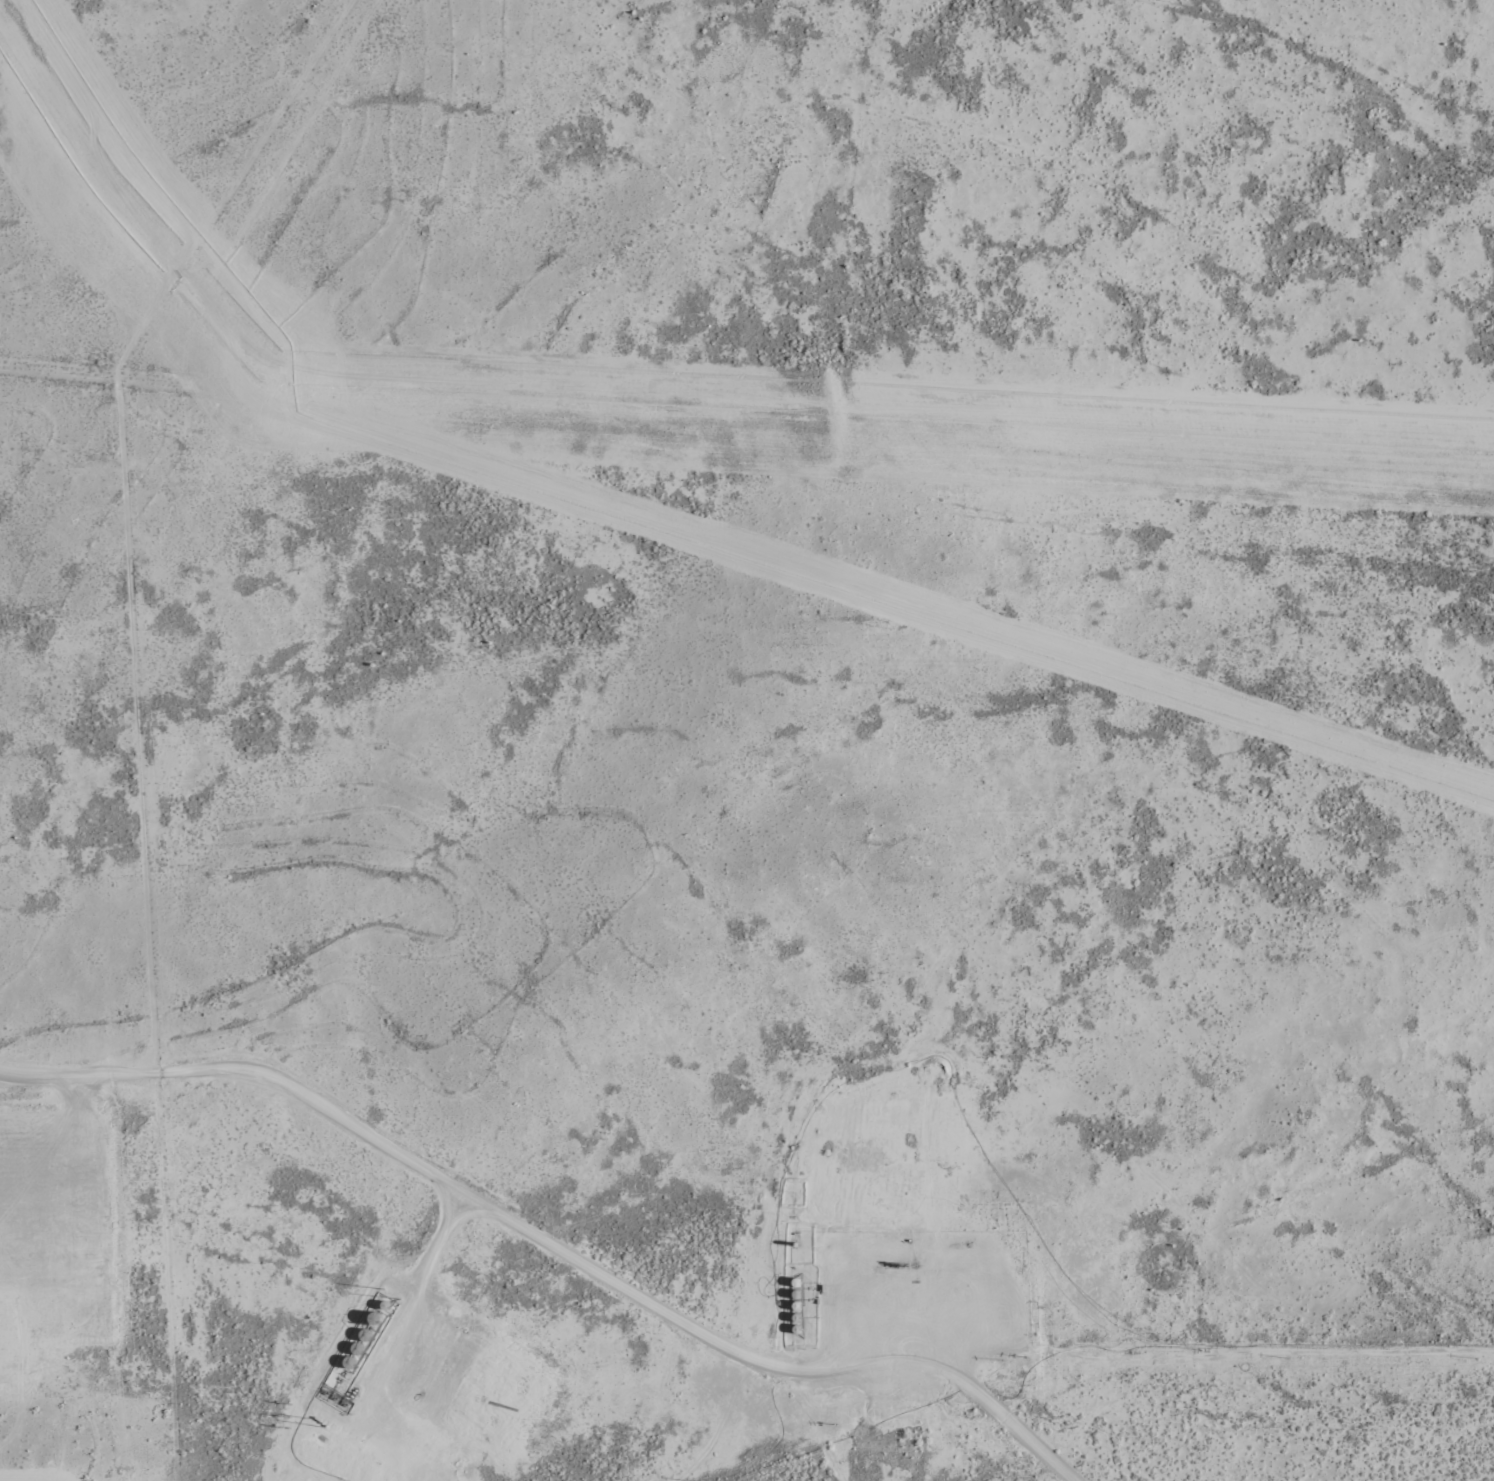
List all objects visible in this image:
road: (543, 1242)

